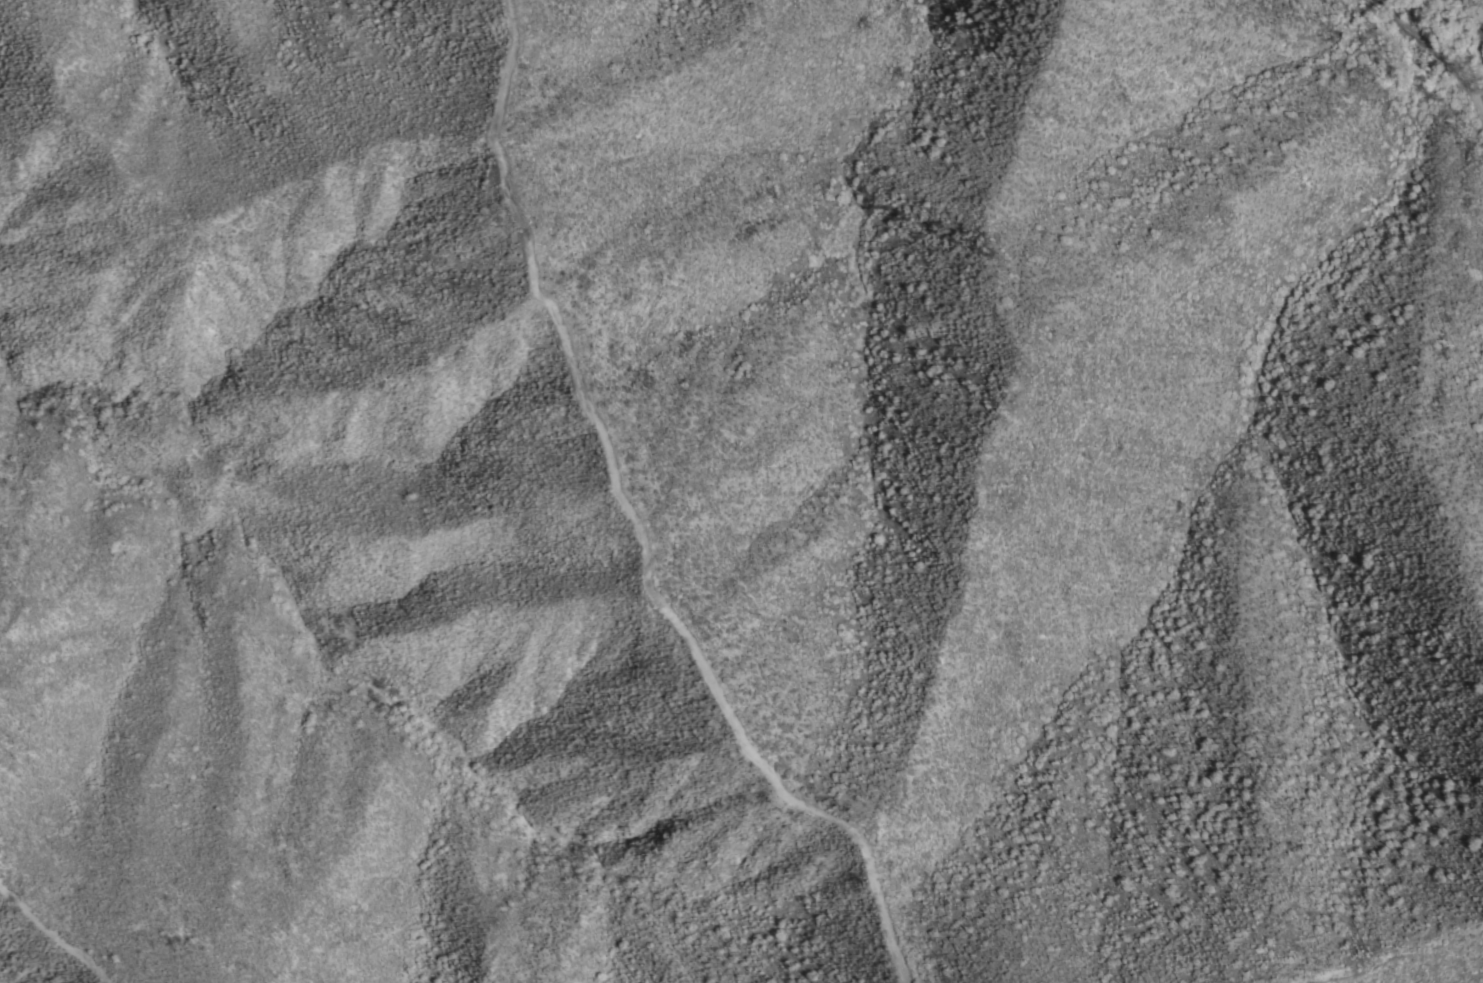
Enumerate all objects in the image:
road: (1437, 45)

